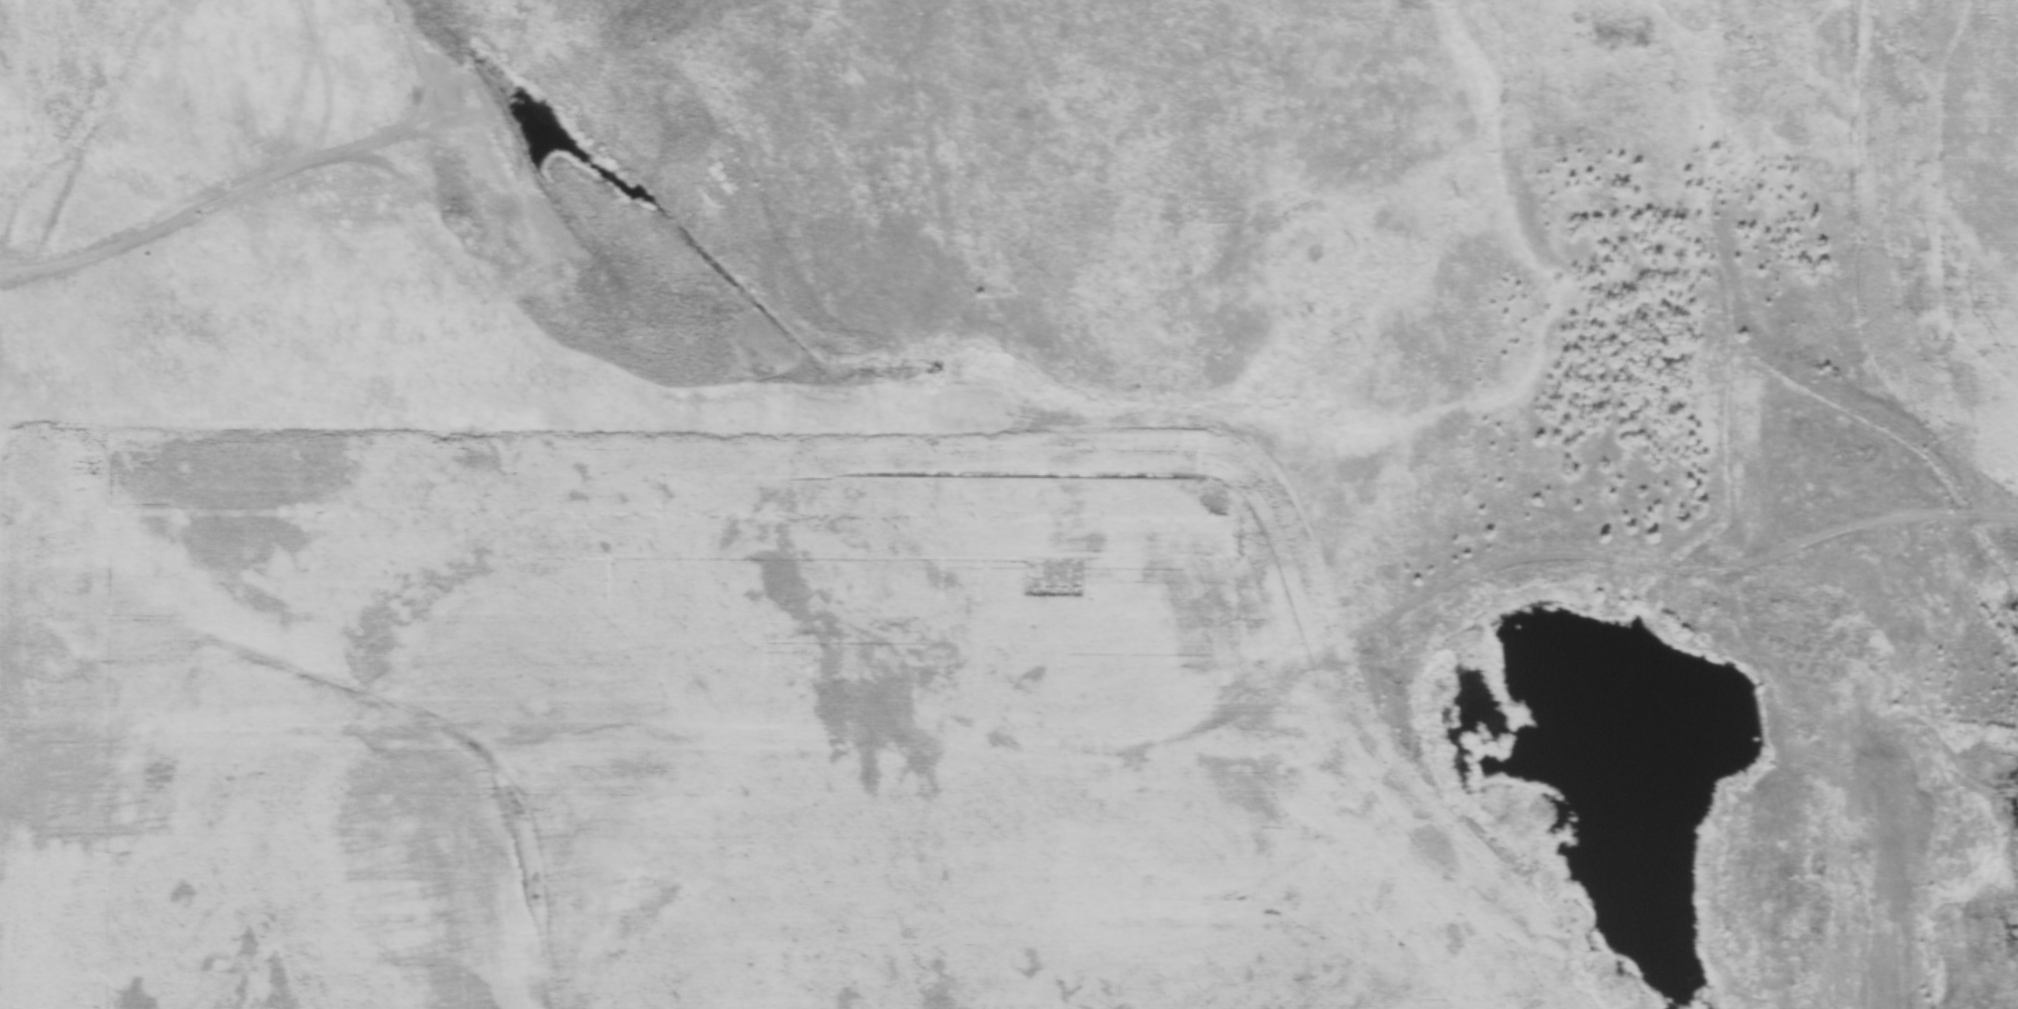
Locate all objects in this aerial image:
road: (95, 135)

